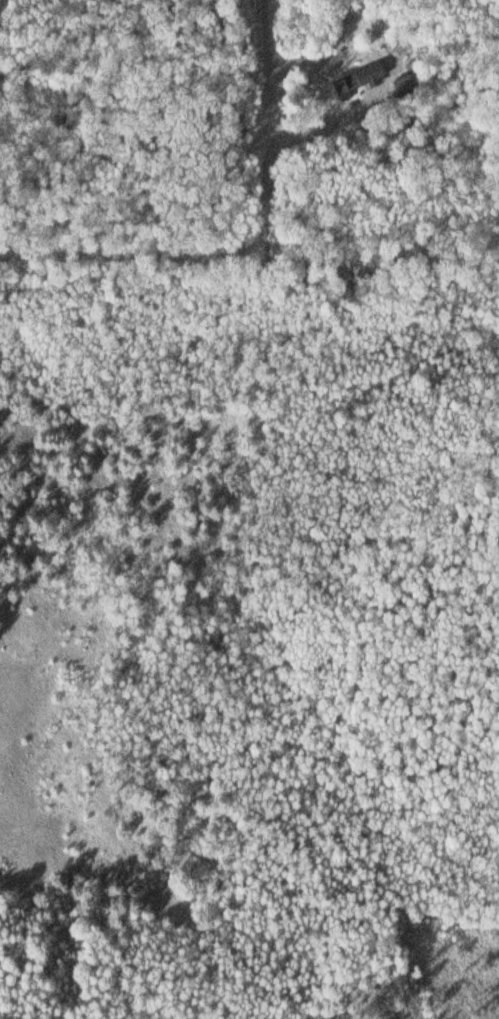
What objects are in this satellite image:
building: (400, 82)
building: (340, 83)
road: (33, 125)
road: (277, 157)
road: (104, 268)

